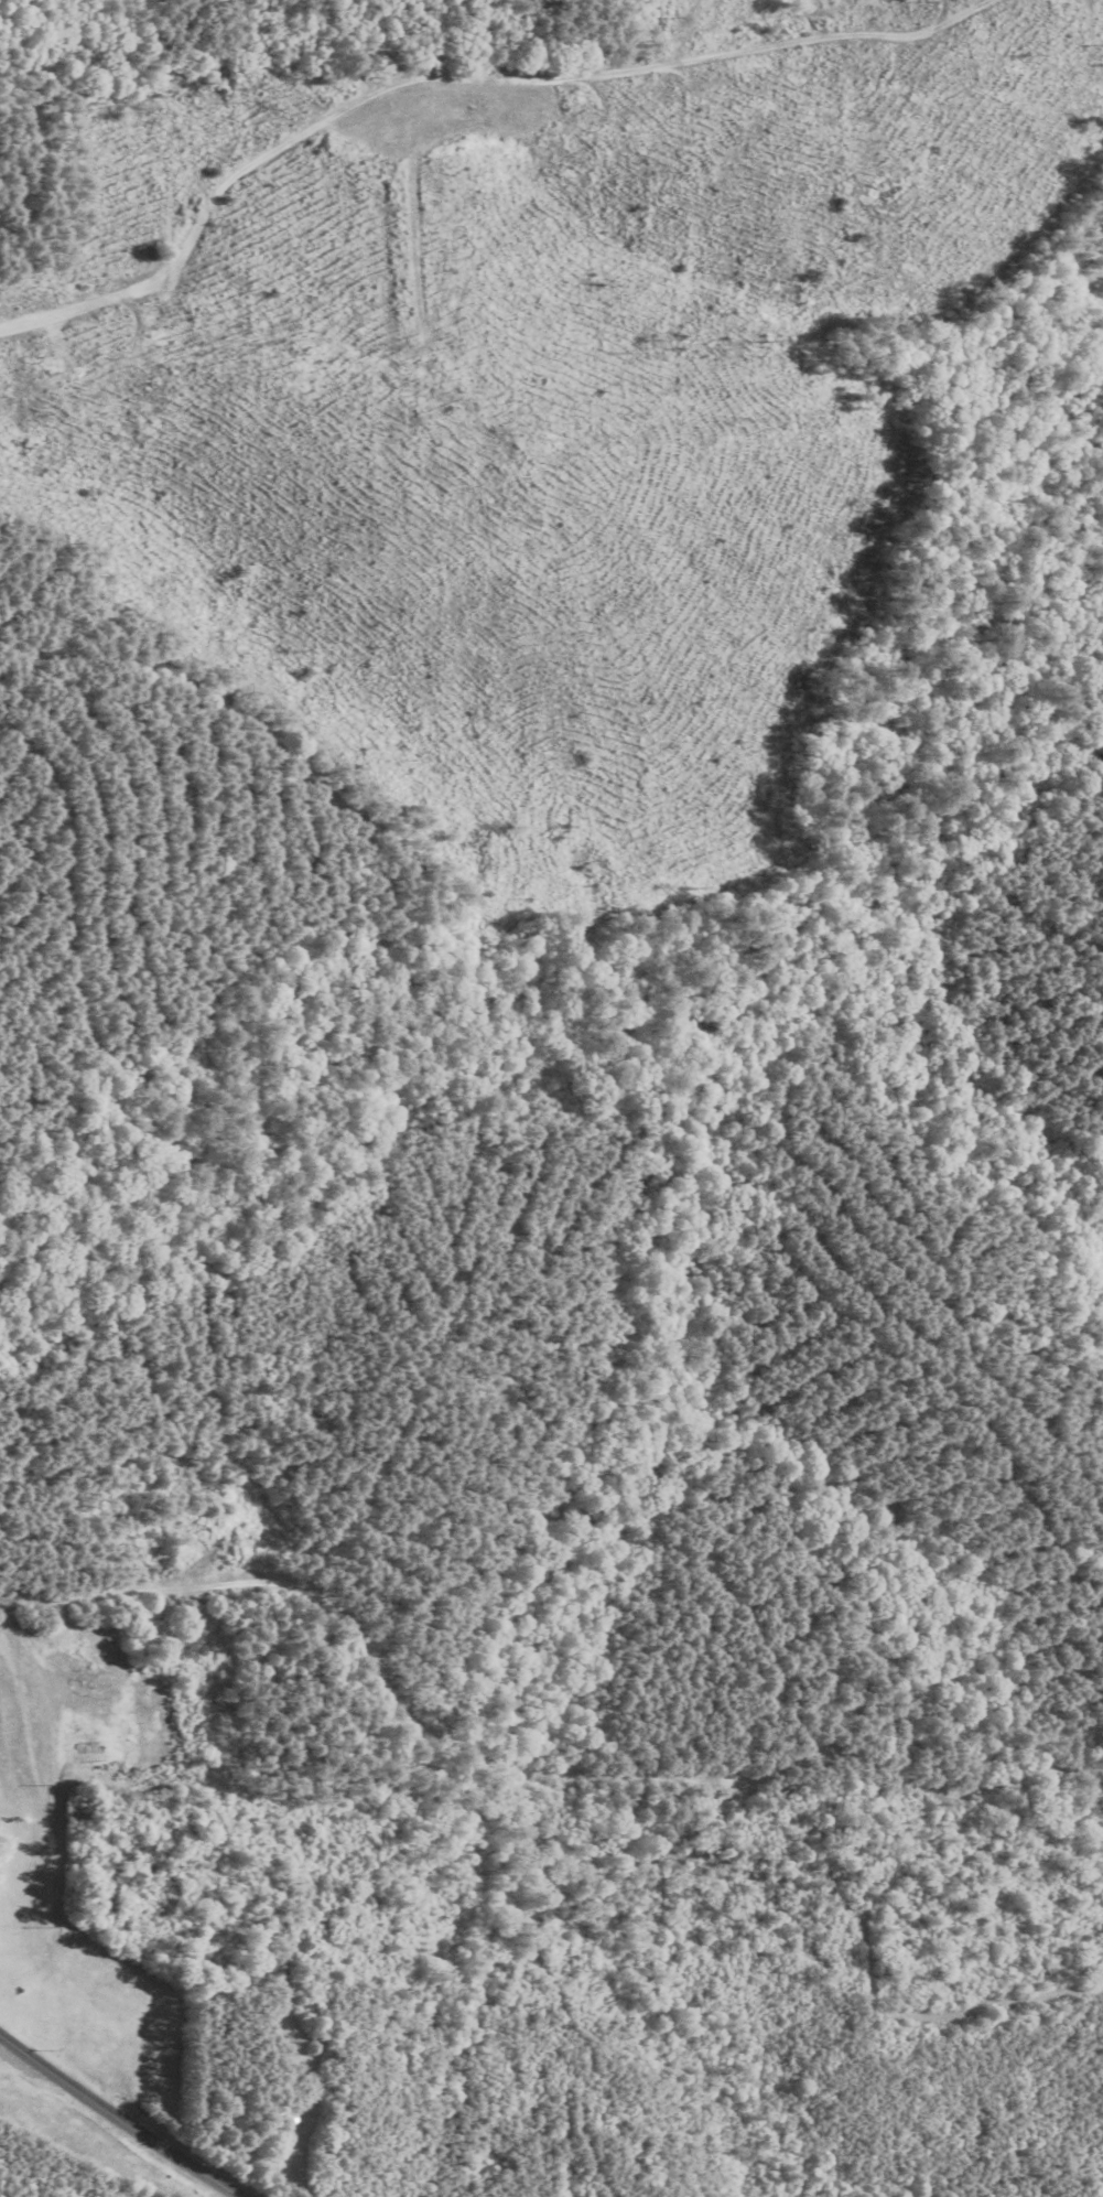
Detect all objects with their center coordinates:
building: (286, 2046)
road: (122, 2117)

